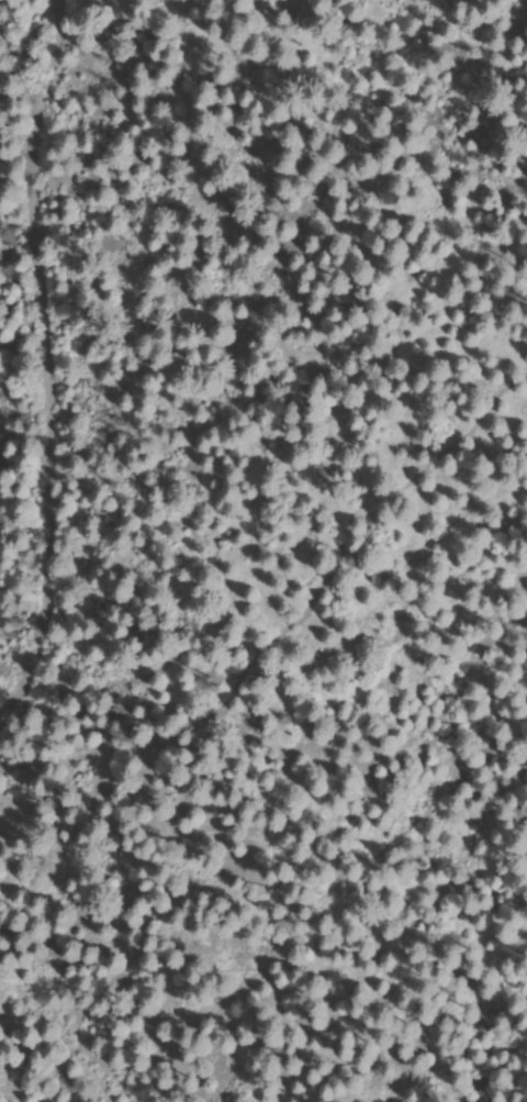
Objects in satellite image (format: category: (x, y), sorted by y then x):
road: (78, 365)

